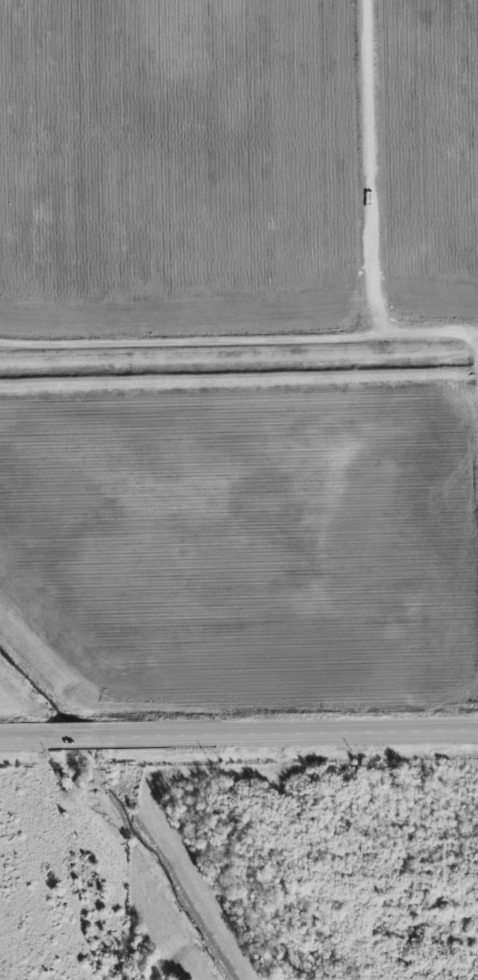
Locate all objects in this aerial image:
road: (374, 177)
road: (65, 195)
road: (238, 358)
road: (239, 736)

